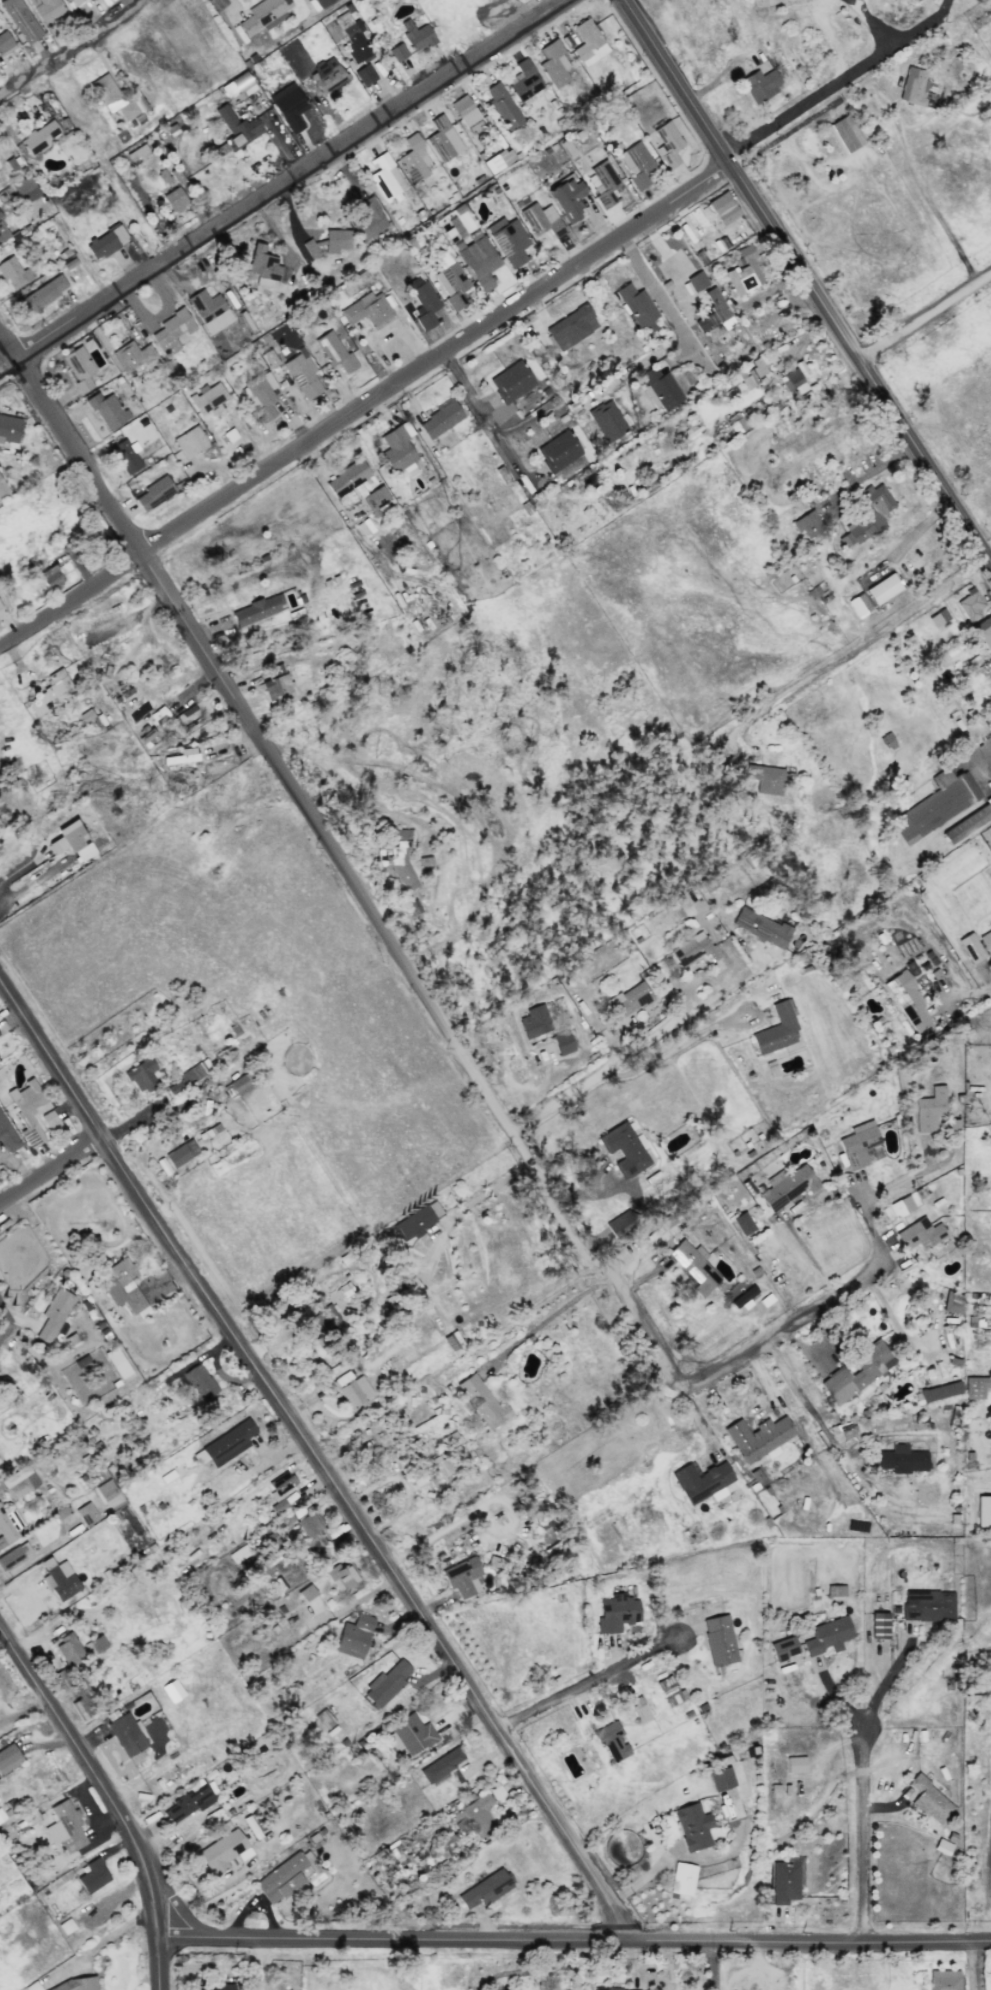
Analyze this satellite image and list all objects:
building: (74, 1)
road: (856, 1)
road: (857, 1)
building: (322, 3)
building: (46, 9)
building: (263, 15)
road: (929, 18)
building: (20, 20)
road: (875, 25)
building: (416, 35)
building: (352, 37)
building: (589, 41)
building: (5, 43)
road: (72, 49)
building: (397, 52)
building: (554, 62)
building: (364, 75)
building: (326, 76)
building: (525, 81)
building: (237, 85)
building: (760, 85)
building: (914, 85)
road: (821, 96)
building: (117, 99)
building: (288, 106)
building: (504, 106)
building: (467, 113)
building: (235, 130)
building: (844, 133)
building: (38, 138)
building: (442, 139)
building: (667, 144)
building: (135, 153)
building: (414, 157)
building: (498, 160)
building: (636, 164)
building: (386, 177)
road: (915, 178)
building: (604, 183)
road: (284, 185)
building: (25, 190)
building: (568, 199)
building: (174, 200)
building: (723, 209)
building: (367, 218)
building: (541, 220)
building: (3, 232)
building: (329, 241)
building: (508, 241)
building: (104, 243)
building: (477, 259)
building: (265, 267)
building: (14, 273)
building: (696, 281)
road: (808, 281)
building: (305, 284)
building: (451, 284)
building: (42, 293)
building: (293, 298)
building: (422, 301)
building: (254, 302)
building: (637, 307)
building: (365, 309)
building: (209, 310)
building: (712, 311)
road: (924, 314)
building: (272, 315)
building: (137, 326)
building: (571, 327)
building: (172, 330)
road: (680, 330)
building: (334, 351)
building: (134, 355)
building: (79, 368)
building: (749, 374)
building: (302, 375)
building: (793, 379)
building: (510, 382)
building: (661, 388)
building: (260, 396)
building: (207, 399)
road: (366, 404)
building: (106, 409)
road: (484, 414)
building: (439, 419)
building: (607, 420)
building: (9, 429)
building: (190, 442)
building: (397, 447)
building: (557, 451)
building: (125, 456)
road: (874, 467)
building: (347, 478)
building: (3, 489)
building: (155, 494)
building: (375, 498)
building: (867, 514)
building: (807, 525)
road: (914, 534)
road: (989, 555)
building: (51, 577)
building: (882, 589)
building: (858, 605)
building: (969, 605)
building: (0, 607)
building: (254, 611)
building: (937, 618)
building: (984, 632)
road: (867, 638)
building: (989, 675)
building: (277, 687)
building: (50, 692)
building: (188, 716)
building: (185, 755)
road: (984, 758)
building: (765, 779)
building: (936, 805)
building: (967, 823)
building: (71, 841)
building: (397, 859)
building: (424, 863)
road: (33, 882)
building: (761, 928)
building: (986, 940)
building: (970, 948)
building: (693, 950)
road: (404, 959)
road: (968, 993)
building: (630, 999)
building: (908, 1002)
building: (534, 1022)
building: (776, 1029)
road: (658, 1040)
building: (562, 1042)
building: (140, 1075)
building: (187, 1078)
building: (239, 1085)
building: (27, 1110)
building: (929, 1110)
building: (50, 1122)
building: (7, 1135)
building: (858, 1144)
building: (624, 1148)
building: (181, 1153)
road: (51, 1172)
road: (905, 1179)
building: (786, 1186)
building: (900, 1206)
building: (415, 1221)
road: (872, 1221)
building: (742, 1223)
building: (920, 1234)
road: (437, 1239)
road: (807, 1253)
building: (694, 1266)
building: (742, 1296)
building: (952, 1303)
building: (54, 1314)
road: (552, 1315)
road: (8, 1317)
building: (324, 1318)
building: (117, 1362)
building: (857, 1372)
building: (198, 1382)
building: (974, 1387)
building: (351, 1389)
building: (939, 1391)
building: (482, 1402)
road: (807, 1406)
road: (756, 1414)
building: (758, 1438)
building: (226, 1443)
road: (311, 1459)
building: (902, 1460)
building: (438, 1471)
building: (700, 1480)
building: (19, 1482)
building: (105, 1490)
building: (279, 1490)
building: (801, 1505)
building: (983, 1511)
building: (86, 1513)
building: (304, 1521)
building: (8, 1527)
building: (14, 1555)
building: (340, 1577)
building: (462, 1577)
building: (58, 1579)
building: (835, 1590)
building: (306, 1592)
building: (927, 1606)
building: (616, 1613)
building: (878, 1626)
building: (354, 1636)
building: (827, 1636)
building: (719, 1640)
building: (97, 1644)
building: (783, 1648)
building: (68, 1650)
road: (887, 1678)
building: (60, 1680)
building: (385, 1684)
building: (988, 1684)
road: (581, 1688)
building: (171, 1691)
building: (669, 1691)
building: (83, 1701)
building: (324, 1719)
building: (126, 1734)
building: (410, 1735)
building: (610, 1741)
building: (8, 1758)
building: (795, 1764)
building: (441, 1765)
road: (95, 1774)
building: (721, 1779)
building: (929, 1800)
building: (188, 1803)
building: (476, 1816)
building: (692, 1826)
building: (65, 1828)
road: (865, 1835)
building: (445, 1847)
building: (223, 1851)
building: (93, 1876)
building: (281, 1878)
building: (681, 1879)
building: (785, 1880)
road: (638, 1883)
building: (485, 1889)
road: (988, 1904)
road: (575, 1940)
road: (103, 1943)
road: (161, 1963)
road: (712, 1965)
road: (973, 1966)
building: (944, 1980)
building: (76, 1984)
building: (216, 1986)
building: (606, 1988)

